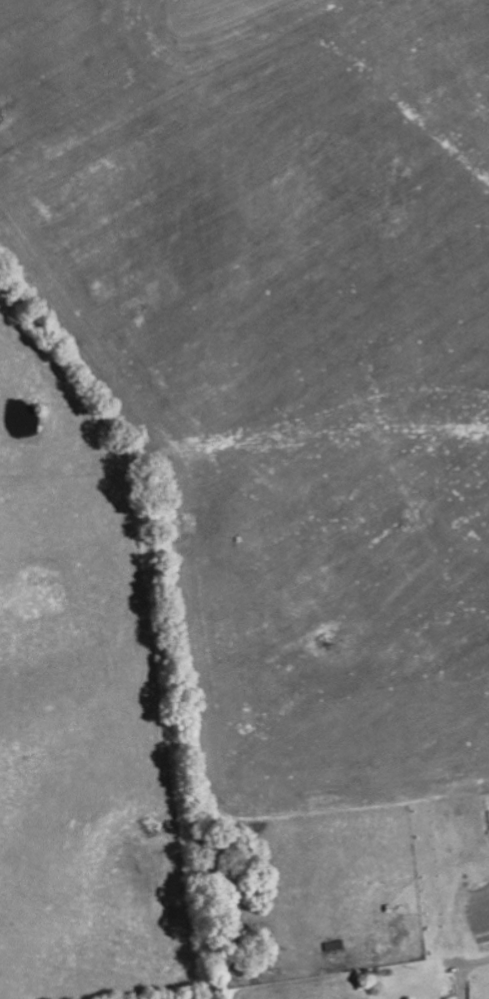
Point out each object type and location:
road: (470, 965)

